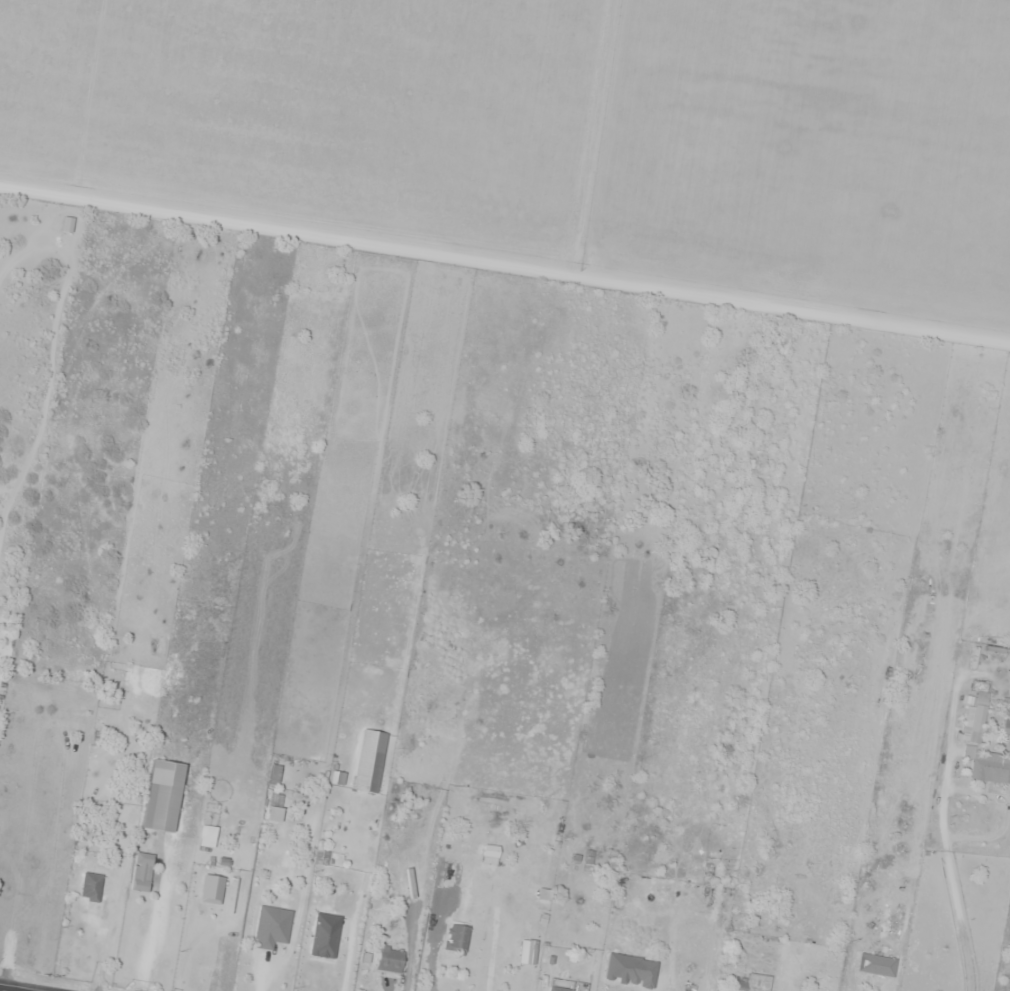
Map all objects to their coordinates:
building: (980, 710)
building: (1007, 727)
building: (370, 761)
building: (990, 771)
building: (337, 778)
building: (276, 801)
building: (589, 861)
building: (351, 874)
building: (91, 886)
building: (272, 927)
building: (457, 940)
building: (389, 959)
building: (877, 965)
building: (753, 983)
building: (559, 989)

